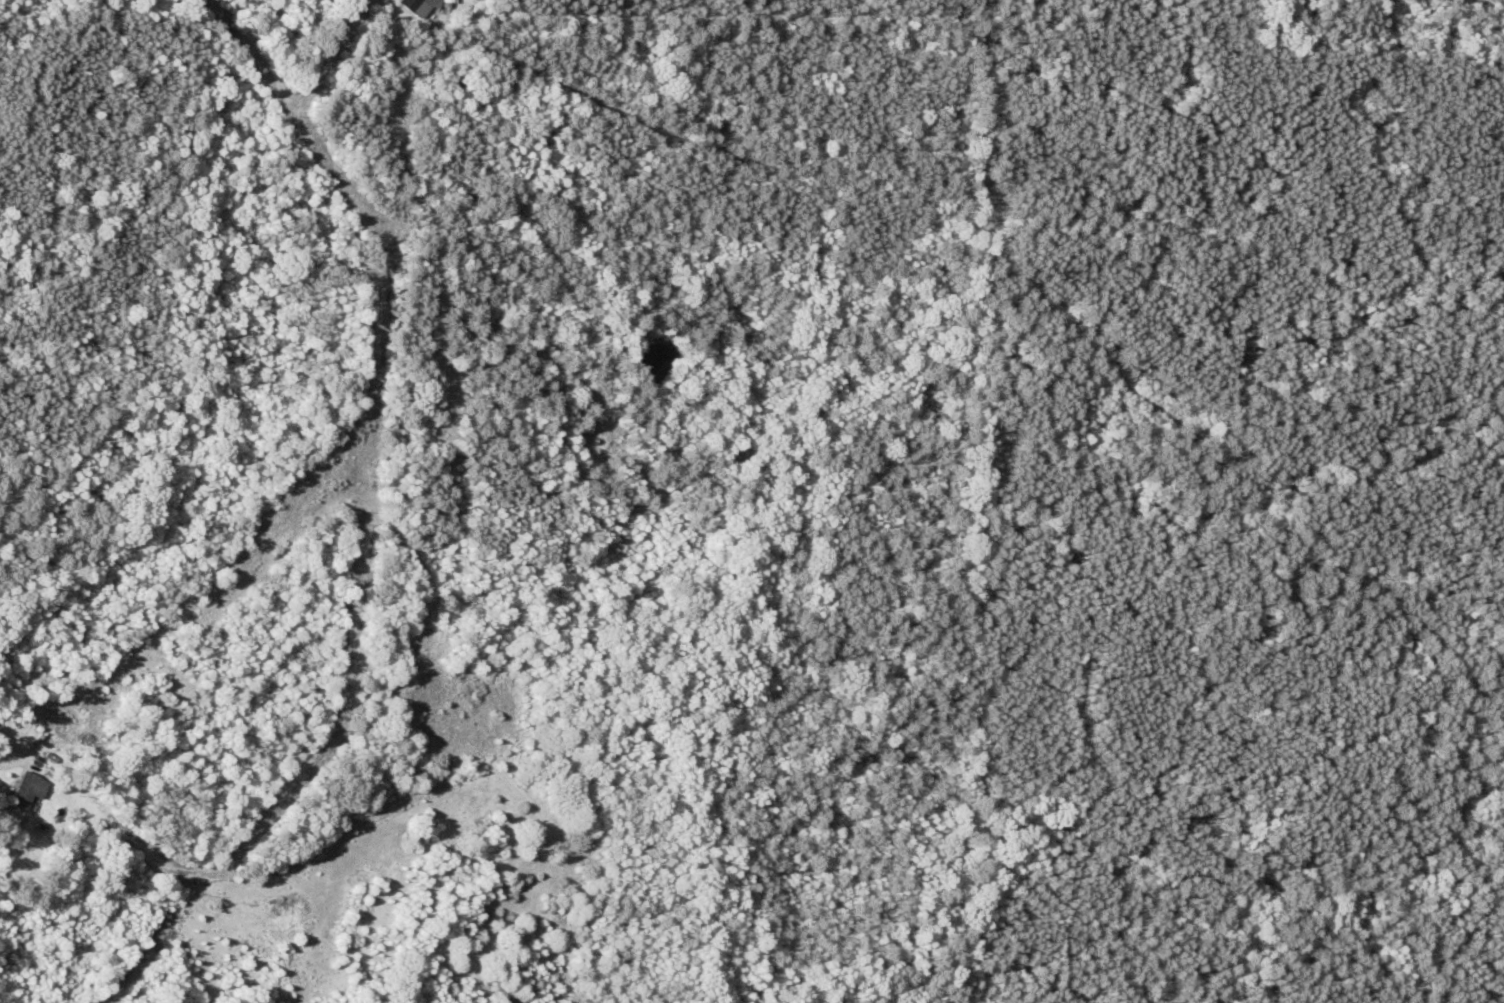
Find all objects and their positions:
building: (404, 6)
road: (5, 764)
building: (22, 789)

